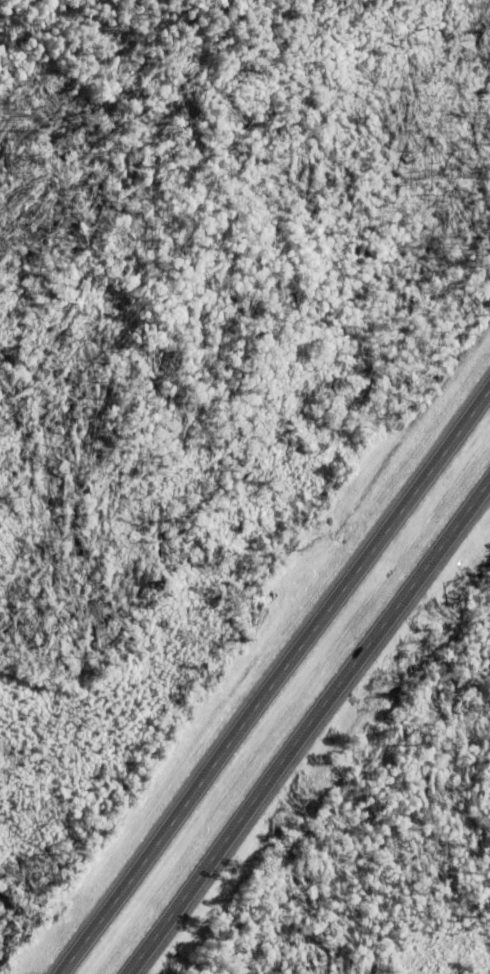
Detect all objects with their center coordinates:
road: (273, 676)
road: (306, 722)

